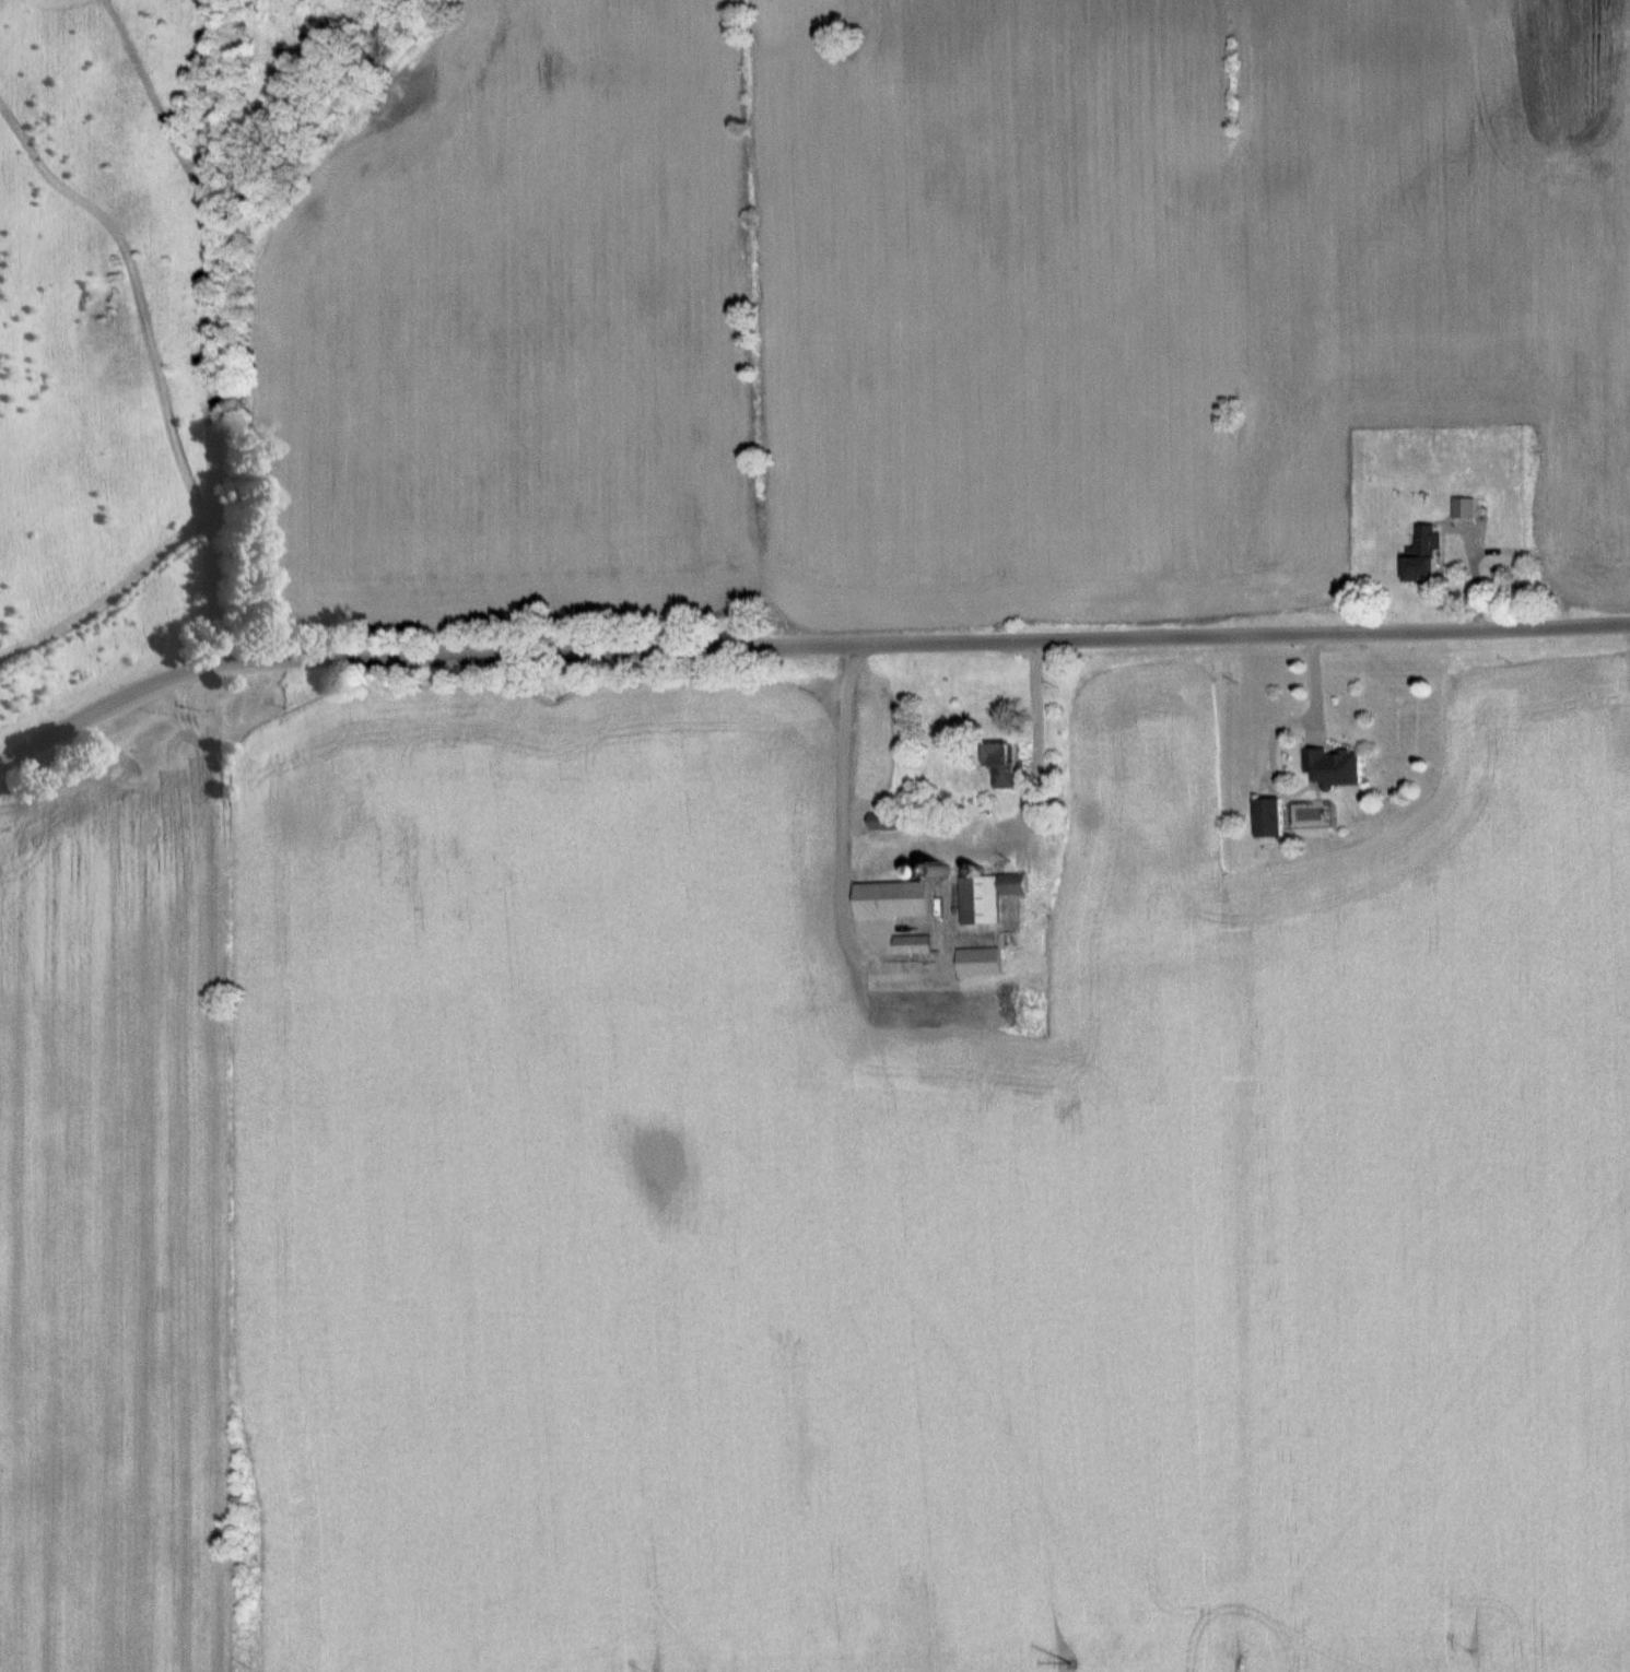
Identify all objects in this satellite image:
road: (223, 330)
building: (1463, 506)
building: (1421, 554)
road: (926, 640)
road: (108, 706)
road: (1034, 740)
building: (1619, 753)
building: (999, 763)
building: (1333, 768)
building: (1266, 817)
building: (883, 820)
road: (836, 846)
building: (895, 895)
building: (986, 895)
building: (911, 943)
building: (977, 959)

